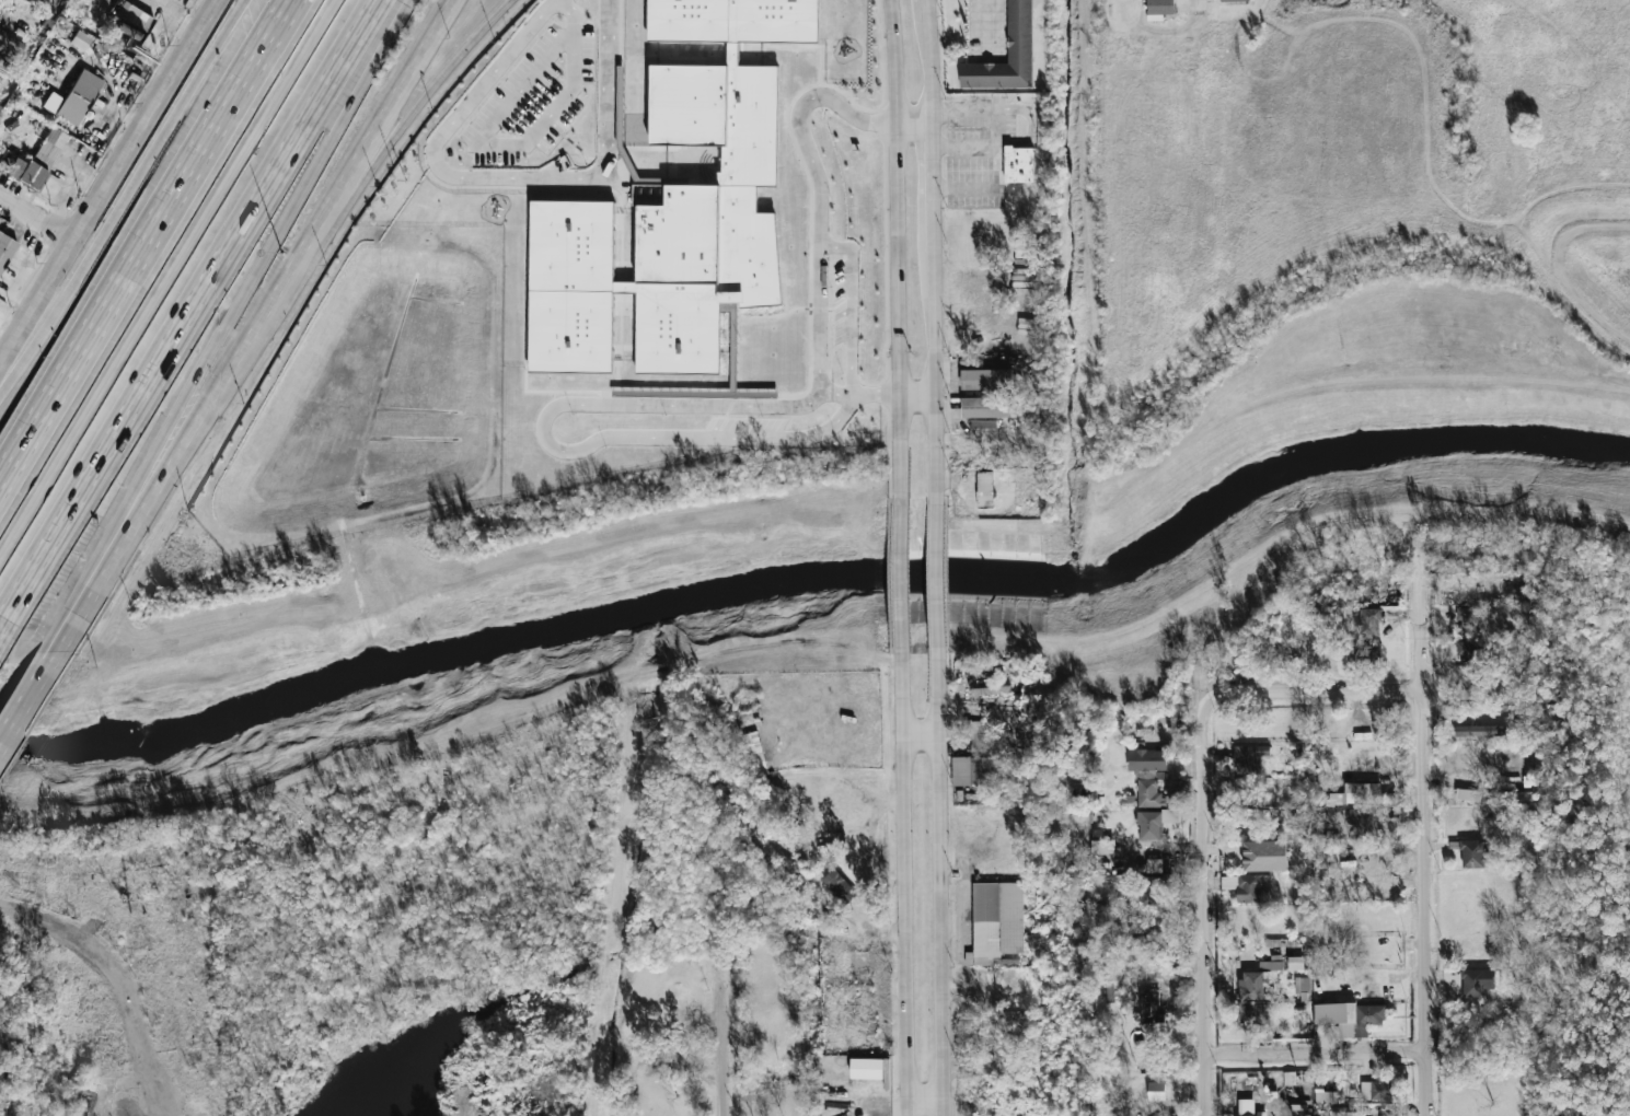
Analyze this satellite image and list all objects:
building: (1233, 0)
road: (1198, 2)
building: (1159, 9)
road: (927, 12)
road: (574, 16)
building: (137, 19)
road: (987, 24)
parking lot: (989, 31)
building: (1019, 31)
building: (80, 39)
road: (930, 78)
road: (524, 85)
road: (409, 86)
road: (436, 86)
road: (563, 96)
building: (79, 98)
parking lot: (534, 98)
building: (0, 105)
road: (913, 130)
building: (19, 140)
road: (500, 147)
parking lot: (975, 152)
building: (38, 160)
building: (1019, 163)
road: (502, 178)
road: (111, 184)
road: (932, 186)
road: (819, 194)
road: (125, 204)
building: (677, 208)
road: (38, 219)
road: (144, 239)
building: (5, 248)
road: (895, 252)
road: (164, 276)
parking lot: (841, 302)
road: (852, 305)
road: (197, 310)
road: (1, 316)
road: (12, 319)
road: (229, 327)
road: (934, 373)
building: (986, 379)
road: (859, 395)
road: (916, 398)
building: (987, 407)
road: (209, 412)
parking lot: (747, 423)
building: (984, 423)
road: (556, 450)
building: (985, 485)
building: (984, 498)
road: (899, 576)
road: (936, 576)
river: (825, 581)
building: (1388, 595)
building: (1467, 616)
building: (1371, 620)
building: (1468, 650)
building: (1366, 651)
building: (991, 690)
road: (1321, 694)
road: (30, 700)
building: (1479, 730)
building: (976, 733)
road: (921, 736)
building: (754, 754)
building: (1250, 757)
building: (981, 770)
building: (1147, 775)
building: (1467, 794)
building: (1363, 797)
building: (1516, 797)
road: (875, 810)
building: (1155, 822)
building: (1365, 822)
road: (1426, 832)
building: (1102, 847)
building: (1327, 855)
building: (1475, 855)
building: (1265, 856)
road: (943, 880)
road: (904, 881)
building: (840, 886)
building: (1249, 886)
building: (1152, 890)
road: (1206, 904)
building: (997, 917)
building: (1140, 926)
building: (1138, 942)
building: (1296, 963)
building: (1259, 979)
building: (1477, 981)
building: (1302, 984)
road: (108, 985)
building: (1151, 1005)
building: (1256, 1015)
building: (1351, 1016)
road: (724, 1042)
road: (1320, 1053)
building: (1376, 1090)
building: (1156, 1091)
building: (1326, 1096)
road: (926, 1101)
building: (1250, 1108)

